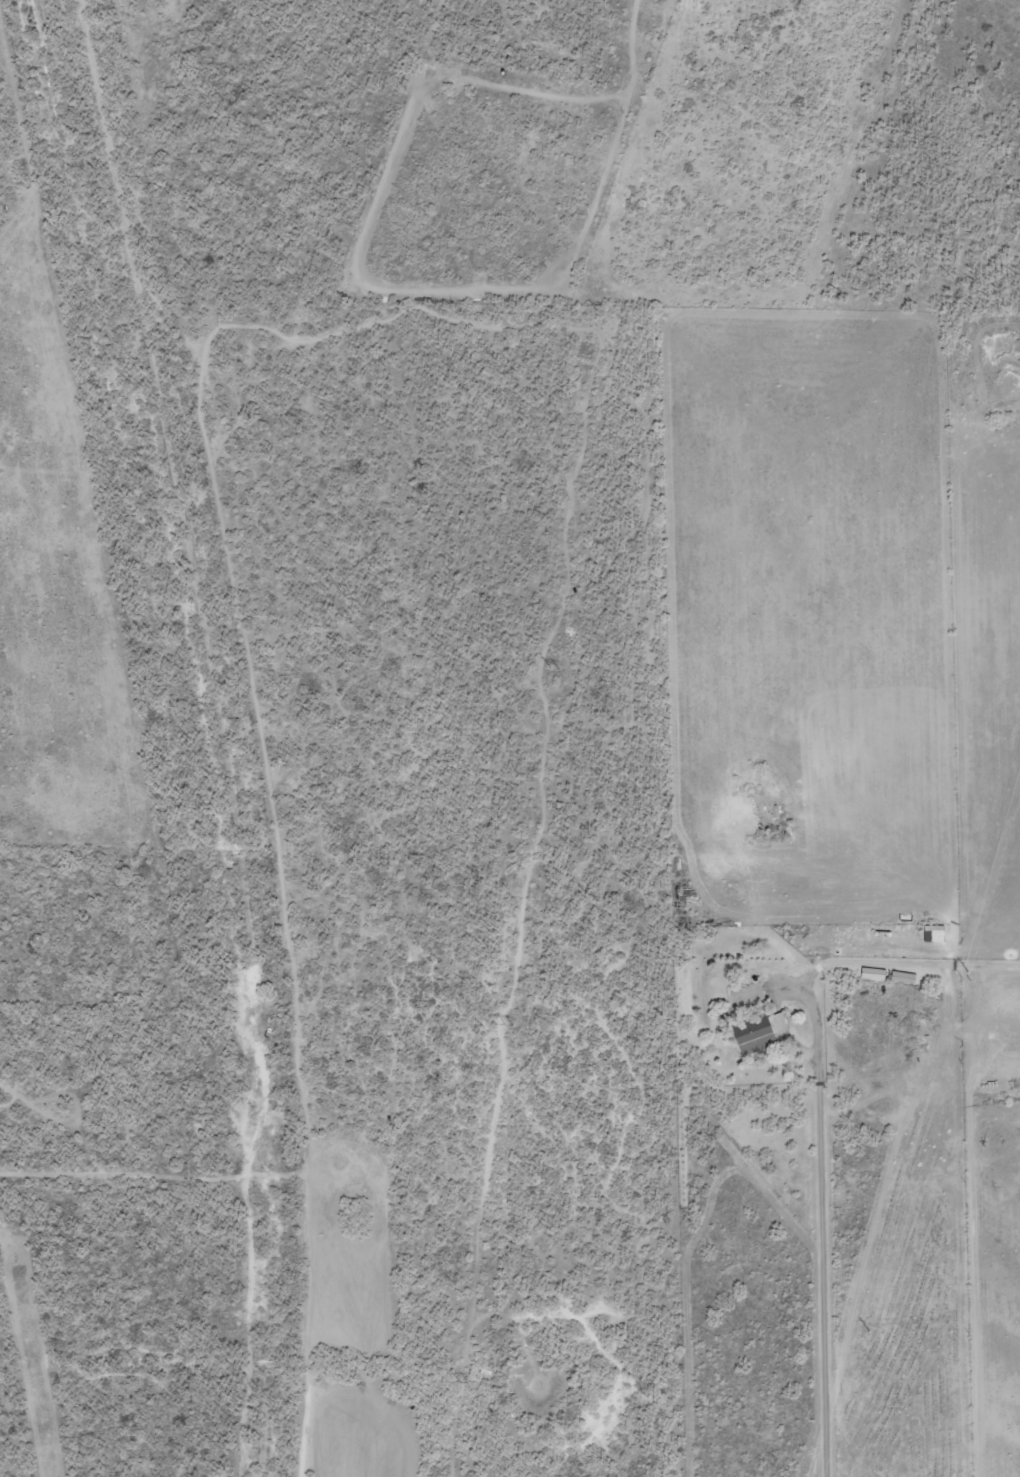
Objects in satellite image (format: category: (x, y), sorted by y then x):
power tower: (604, 305)
power tower: (561, 667)
railway: (219, 732)
building: (935, 935)
building: (872, 973)
building: (902, 976)
power tower: (962, 979)
power tower: (515, 1024)
building: (757, 1030)
road: (817, 1111)
road: (246, 1212)
power tower: (865, 1327)
power tower: (469, 1381)

